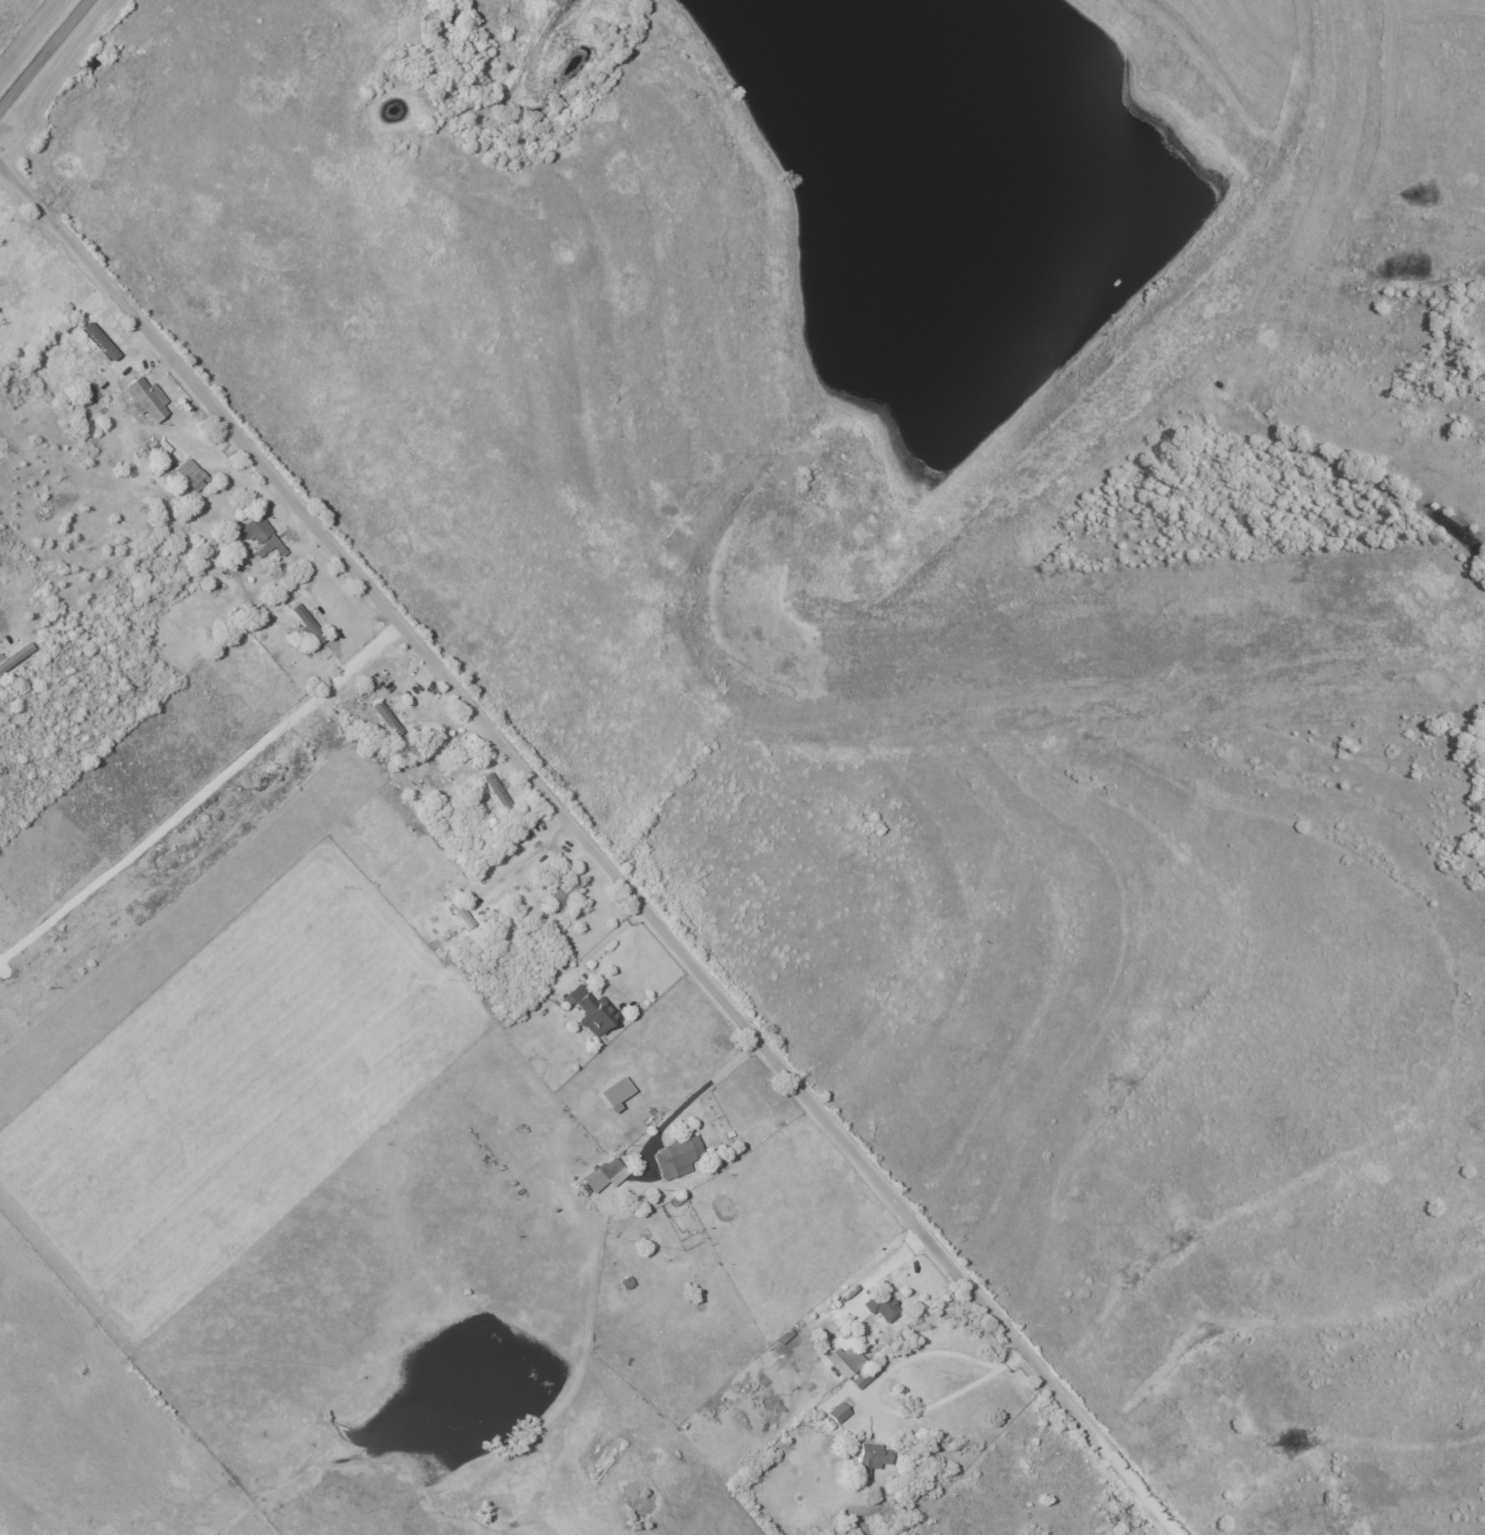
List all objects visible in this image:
road: (45, 56)
road: (91, 66)
road: (252, 153)
dam: (1140, 336)
building: (101, 340)
building: (146, 398)
building: (192, 474)
building: (260, 535)
building: (308, 625)
building: (386, 718)
road: (481, 754)
building: (497, 793)
road: (591, 849)
road: (524, 862)
building: (564, 893)
building: (462, 915)
road: (604, 940)
building: (590, 1010)
building: (617, 1092)
road: (687, 1101)
building: (677, 1157)
building: (604, 1175)
building: (882, 1305)
building: (845, 1360)
road: (873, 1383)
building: (835, 1409)
building: (870, 1458)

